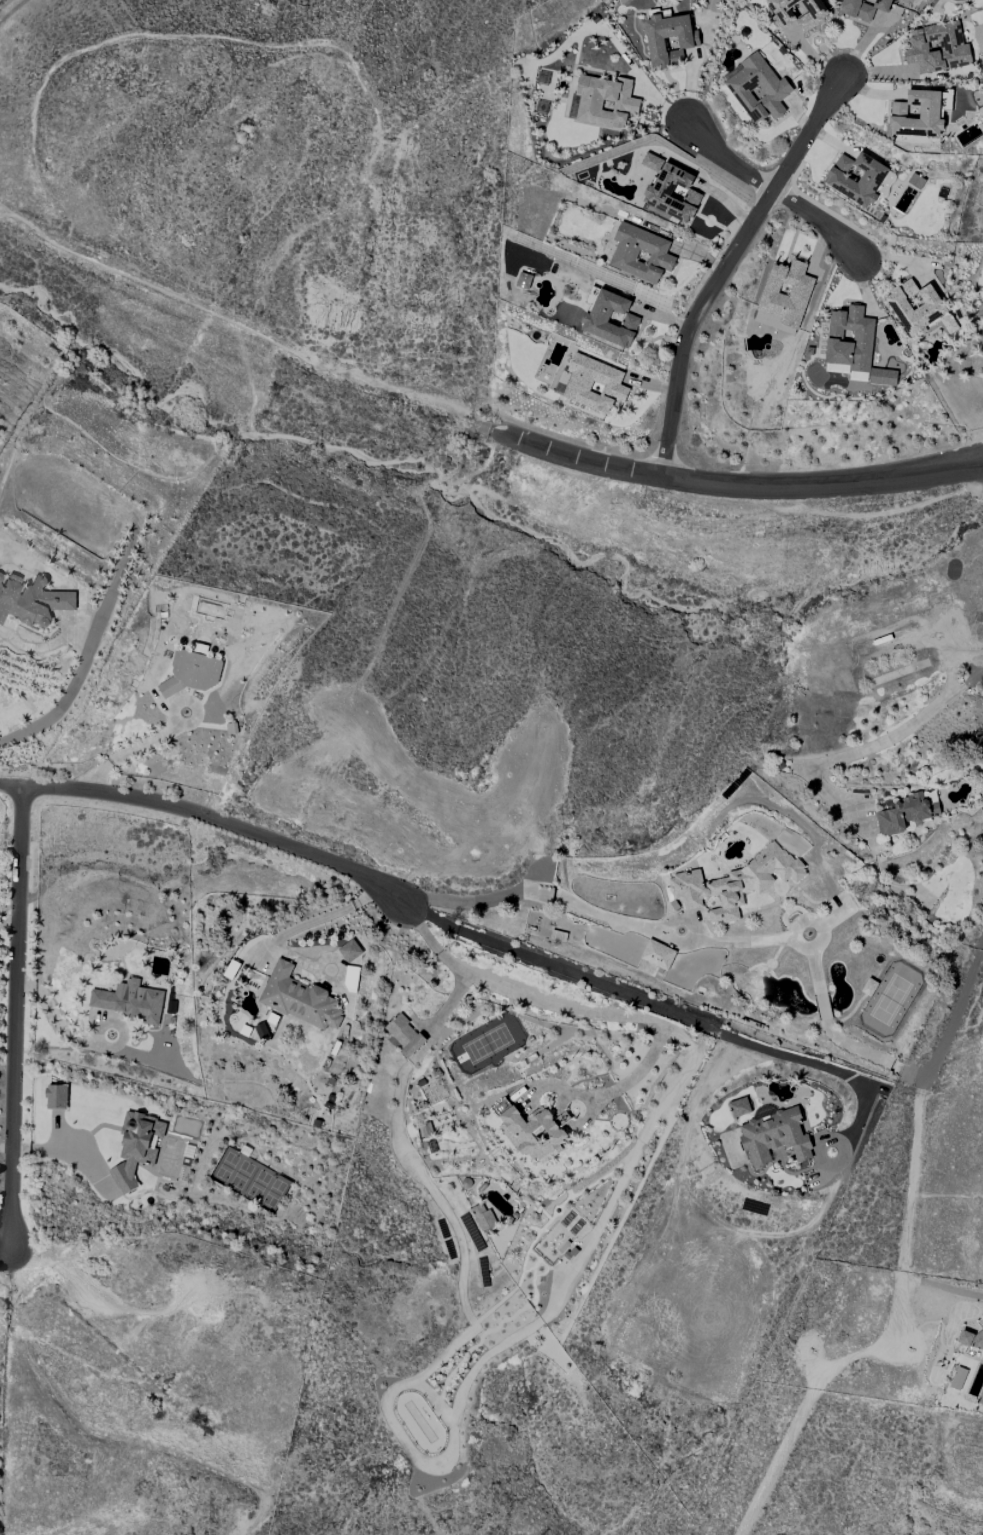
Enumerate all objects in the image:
building: (864, 8)
building: (797, 13)
building: (669, 39)
building: (937, 48)
building: (758, 89)
building: (946, 100)
building: (605, 102)
building: (917, 114)
road: (726, 161)
building: (651, 162)
building: (856, 178)
building: (916, 181)
building: (672, 193)
road: (815, 219)
building: (640, 253)
road: (726, 267)
building: (523, 281)
building: (786, 293)
building: (919, 309)
road: (241, 319)
building: (610, 319)
building: (854, 346)
building: (593, 384)
road: (728, 482)
building: (0, 576)
building: (32, 601)
building: (191, 673)
road: (66, 695)
road: (867, 746)
building: (905, 814)
road: (209, 822)
building: (736, 882)
road: (317, 920)
road: (691, 937)
building: (350, 951)
building: (657, 954)
building: (298, 999)
building: (130, 1001)
road: (558, 1003)
road: (657, 1008)
road: (14, 1013)
road: (951, 1024)
building: (404, 1035)
building: (56, 1096)
building: (739, 1107)
building: (534, 1132)
building: (774, 1135)
building: (136, 1148)
road: (57, 1151)
building: (482, 1216)
road: (3, 1247)
road: (891, 1335)
building: (972, 1339)
building: (981, 1398)

